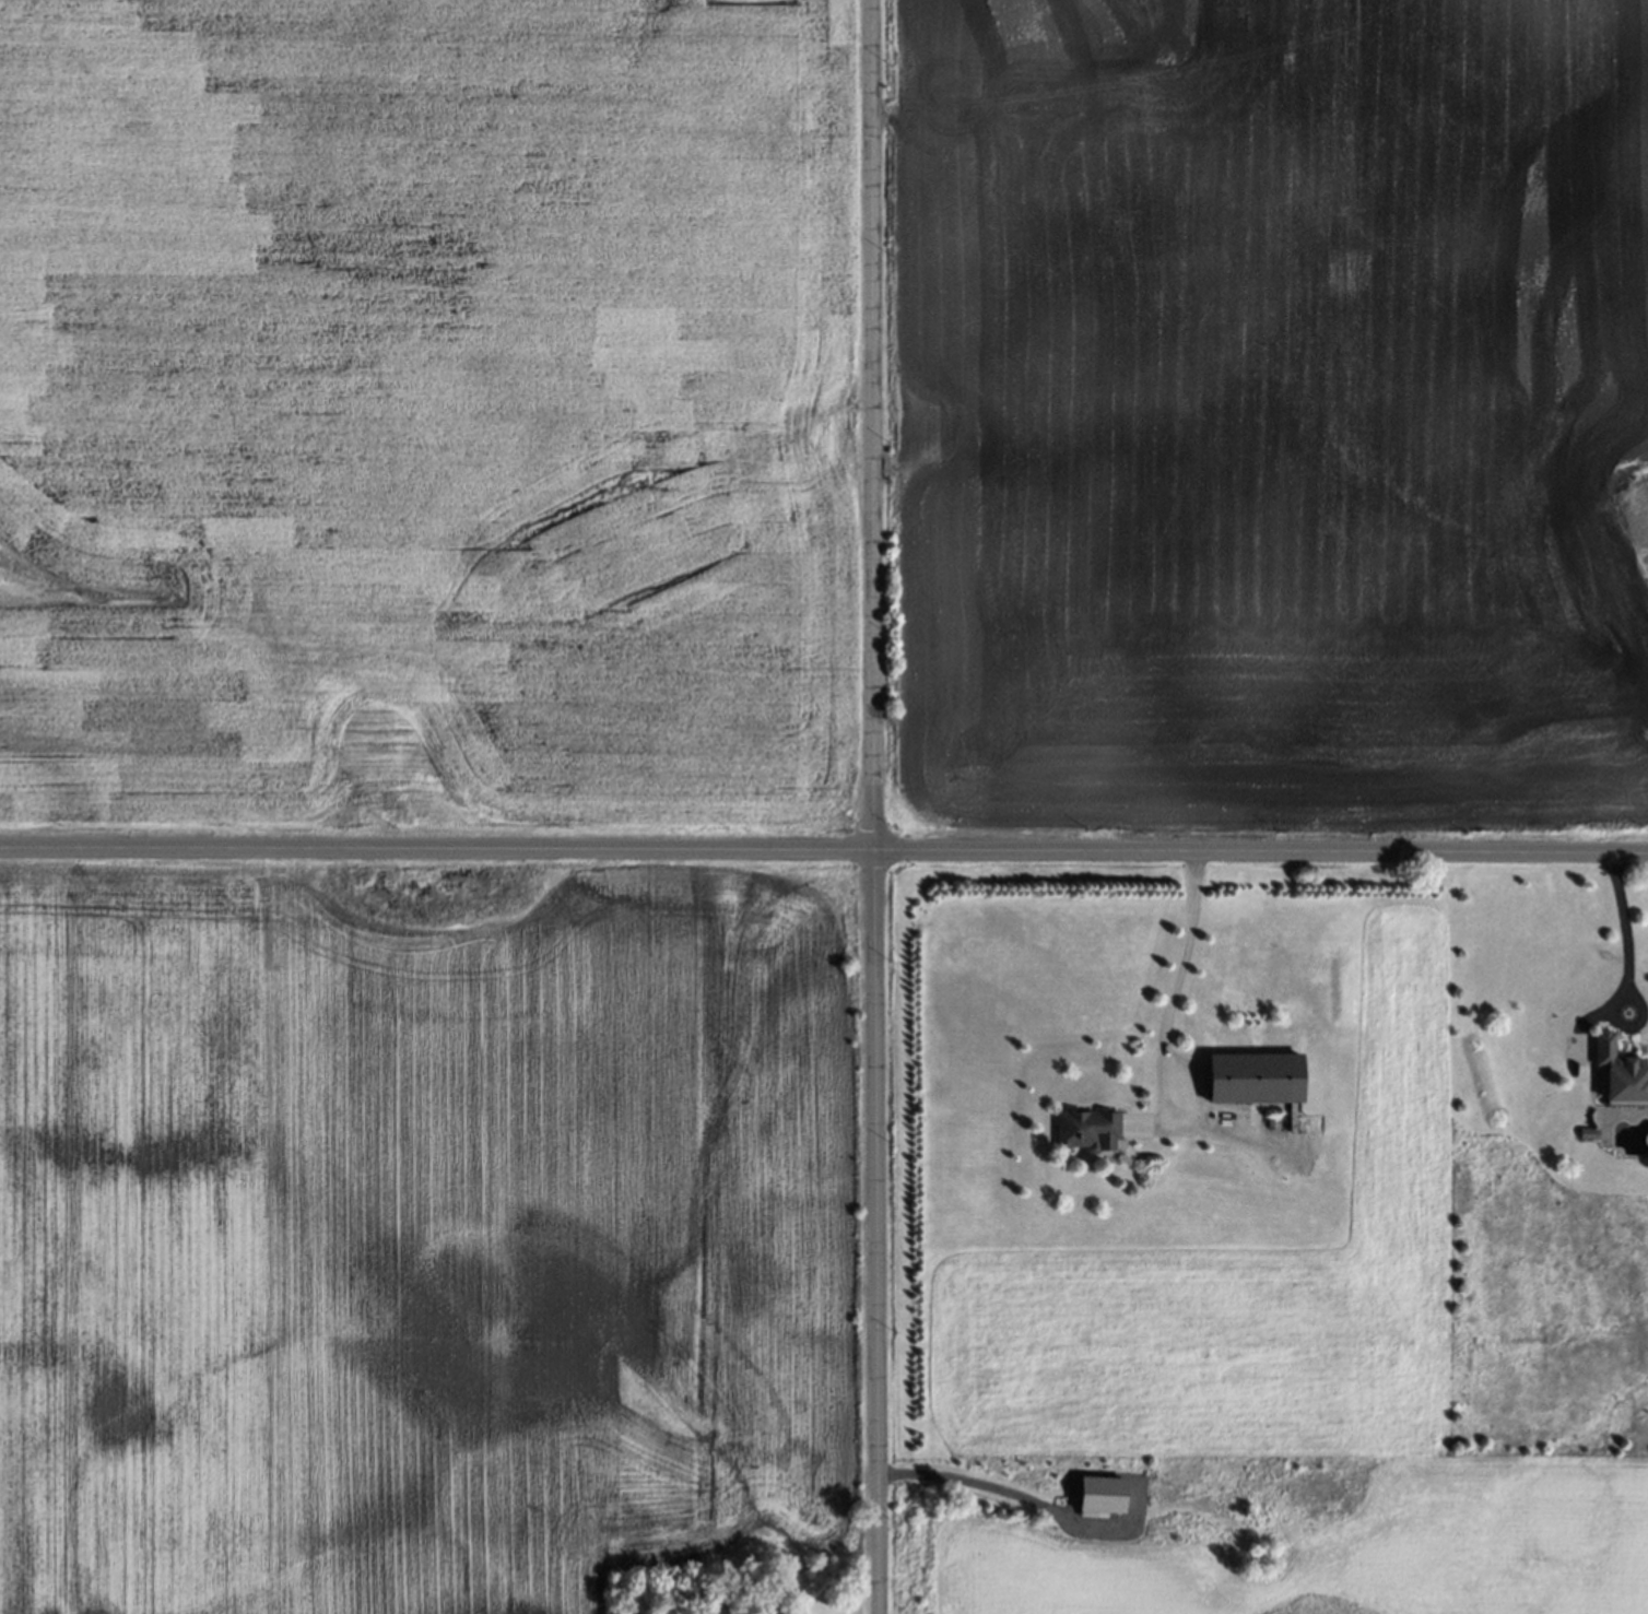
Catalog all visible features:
crop: (1270, 417)
road: (874, 806)
road: (824, 849)
road: (1624, 931)
road: (1166, 1012)
building: (1248, 1073)
building: (1618, 1074)
building: (1082, 1126)
building: (1586, 1133)
crop: (413, 1239)
road: (985, 1486)
building: (1102, 1495)

